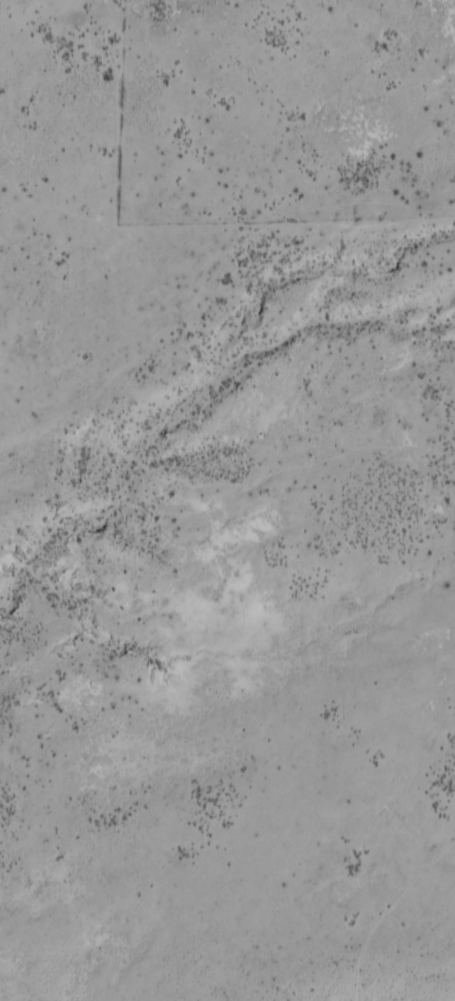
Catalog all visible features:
road: (413, 50)

